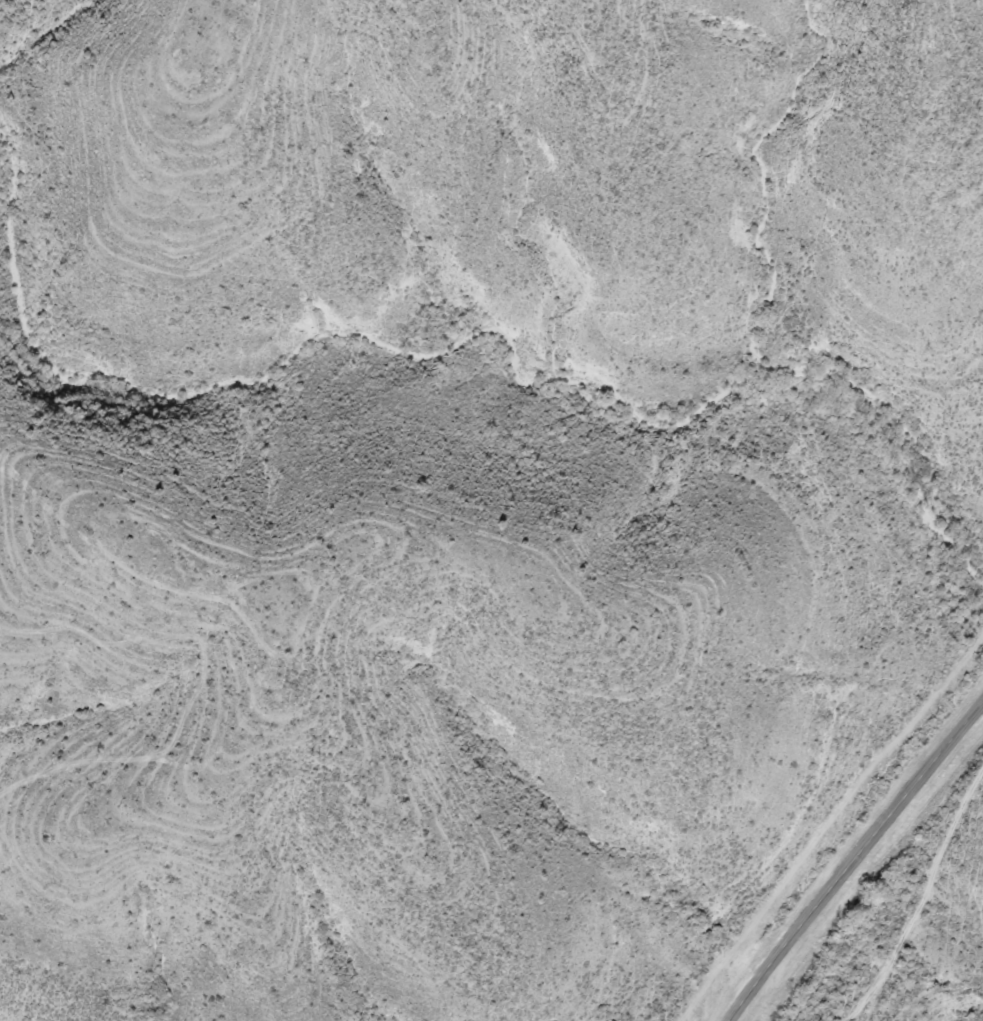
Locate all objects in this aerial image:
road: (852, 858)

